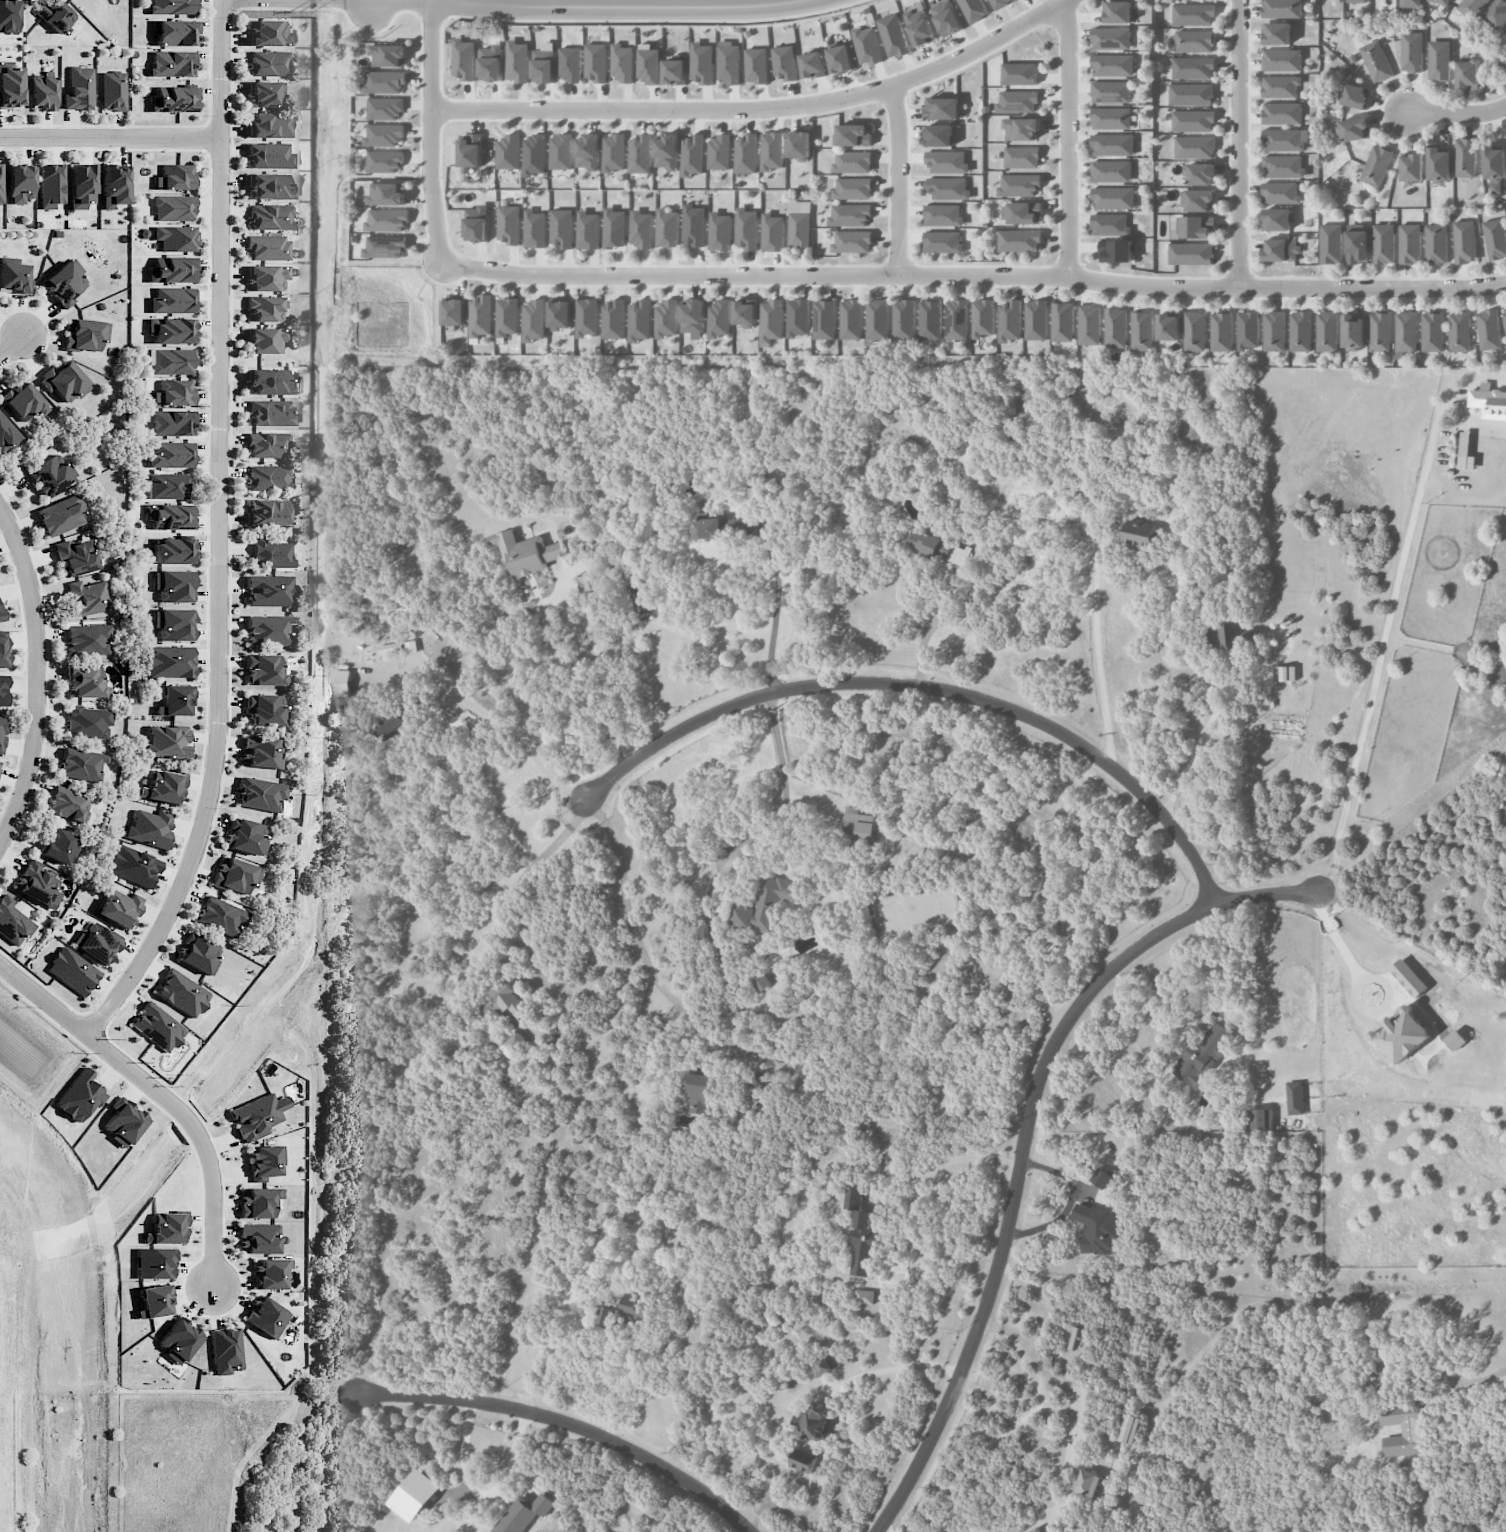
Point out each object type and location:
building: (1357, 1)
building: (1440, 1)
building: (1000, 3)
building: (1410, 3)
road: (633, 4)
road: (367, 5)
building: (171, 6)
building: (1282, 8)
building: (1471, 8)
building: (973, 10)
building: (1118, 11)
building: (1193, 14)
building: (1497, 14)
building: (56, 15)
building: (8, 16)
building: (946, 18)
building: (919, 27)
building: (173, 32)
building: (268, 33)
building: (1276, 33)
building: (893, 35)
building: (1112, 38)
building: (1194, 41)
building: (866, 45)
building: (1411, 51)
building: (389, 55)
building: (840, 58)
building: (463, 59)
building: (1282, 60)
building: (1439, 60)
building: (517, 61)
building: (1376, 61)
building: (596, 62)
building: (622, 62)
building: (728, 62)
building: (784, 62)
building: (171, 63)
building: (269, 63)
building: (490, 63)
building: (543, 63)
building: (701, 63)
building: (569, 64)
building: (649, 64)
building: (813, 64)
building: (756, 65)
building: (1113, 65)
building: (1193, 67)
building: (675, 71)
building: (1019, 73)
building: (1467, 74)
building: (385, 81)
building: (9, 84)
building: (1280, 86)
building: (78, 88)
building: (112, 90)
building: (1111, 91)
building: (41, 92)
building: (264, 93)
building: (1191, 94)
building: (1356, 96)
building: (172, 99)
building: (1018, 101)
building: (385, 108)
building: (942, 108)
road: (762, 109)
building: (1282, 113)
road: (1457, 114)
building: (1111, 118)
building: (1193, 120)
building: (270, 125)
building: (1353, 129)
road: (430, 131)
building: (384, 134)
building: (853, 135)
building: (940, 135)
road: (110, 138)
building: (1285, 139)
road: (1068, 140)
building: (1113, 144)
road: (1239, 144)
building: (799, 145)
building: (1195, 147)
building: (561, 151)
building: (588, 151)
building: (667, 151)
building: (773, 151)
building: (509, 152)
building: (614, 152)
building: (720, 152)
building: (641, 153)
building: (747, 153)
building: (535, 154)
building: (269, 155)
building: (693, 155)
building: (472, 157)
building: (1022, 157)
building: (1464, 157)
building: (385, 161)
building: (853, 162)
building: (947, 162)
building: (1376, 165)
building: (1283, 166)
building: (1495, 167)
building: (1412, 168)
building: (1111, 171)
building: (1200, 173)
building: (174, 178)
road: (897, 181)
building: (0, 182)
building: (19, 183)
building: (49, 185)
building: (80, 185)
building: (113, 185)
building: (1019, 185)
building: (270, 186)
building: (853, 188)
building: (948, 188)
building: (1280, 193)
building: (386, 194)
building: (1113, 197)
building: (1198, 200)
building: (173, 208)
building: (1022, 212)
building: (850, 214)
building: (943, 215)
building: (271, 217)
building: (1276, 219)
building: (388, 220)
building: (476, 223)
building: (799, 223)
building: (509, 224)
building: (1110, 224)
building: (693, 225)
building: (1195, 226)
building: (561, 228)
building: (614, 228)
building: (667, 228)
building: (746, 228)
building: (535, 229)
building: (640, 229)
building: (587, 230)
building: (719, 231)
building: (772, 232)
building: (173, 238)
building: (1495, 238)
building: (1019, 240)
building: (853, 241)
building: (1464, 241)
building: (943, 242)
building: (1331, 243)
building: (1383, 243)
building: (1410, 243)
building: (1436, 243)
building: (386, 246)
building: (1357, 247)
building: (268, 248)
building: (1281, 249)
building: (1116, 250)
building: (1190, 253)
building: (170, 270)
building: (13, 276)
road: (973, 276)
building: (265, 277)
building: (63, 283)
building: (171, 300)
building: (264, 308)
building: (455, 311)
building: (1505, 312)
building: (745, 313)
building: (561, 314)
building: (481, 316)
building: (507, 316)
building: (587, 317)
building: (798, 317)
building: (666, 318)
building: (693, 318)
building: (719, 318)
building: (983, 318)
building: (614, 319)
building: (640, 319)
building: (825, 319)
building: (851, 319)
building: (877, 319)
building: (904, 319)
building: (957, 319)
building: (534, 320)
building: (772, 320)
building: (930, 320)
building: (1036, 320)
building: (1009, 321)
building: (1063, 322)
building: (1089, 324)
building: (1116, 327)
building: (1168, 327)
building: (1247, 329)
building: (1488, 329)
building: (169, 330)
building: (1142, 330)
building: (1195, 331)
building: (1221, 331)
building: (1274, 331)
building: (1300, 331)
building: (1327, 331)
building: (1353, 331)
building: (1380, 331)
building: (1406, 331)
building: (1433, 331)
building: (1459, 331)
building: (84, 334)
building: (265, 340)
road: (12, 346)
building: (170, 361)
building: (63, 381)
building: (269, 382)
building: (172, 393)
building: (23, 401)
building: (1489, 401)
building: (270, 413)
building: (172, 423)
building: (7, 435)
building: (268, 445)
building: (1465, 452)
building: (170, 454)
building: (48, 475)
building: (267, 477)
building: (167, 485)
building: (266, 512)
building: (59, 515)
building: (168, 516)
building: (706, 528)
road: (219, 534)
building: (1139, 534)
building: (938, 547)
building: (172, 550)
building: (526, 553)
building: (270, 554)
building: (74, 557)
building: (589, 582)
building: (172, 585)
building: (269, 590)
building: (88, 597)
road: (772, 610)
building: (1, 615)
building: (172, 624)
building: (267, 630)
building: (1234, 635)
building: (87, 639)
road: (1380, 644)
road: (1096, 645)
building: (390, 648)
building: (3, 649)
building: (168, 661)
road: (579, 666)
building: (264, 670)
building: (1284, 673)
road: (39, 677)
building: (85, 683)
building: (342, 683)
road: (929, 687)
building: (3, 690)
building: (174, 700)
road: (1217, 704)
building: (264, 710)
building: (87, 722)
building: (392, 725)
building: (1, 727)
road: (504, 729)
building: (166, 742)
building: (261, 752)
building: (80, 764)
building: (162, 786)
road: (782, 787)
building: (259, 794)
building: (68, 804)
building: (858, 825)
building: (148, 827)
building: (245, 837)
building: (59, 845)
building: (132, 866)
building: (235, 875)
road: (518, 883)
building: (37, 884)
building: (767, 904)
building: (119, 908)
building: (220, 916)
road: (627, 917)
building: (12, 922)
building: (96, 943)
building: (197, 955)
building: (71, 971)
building: (1408, 977)
building: (761, 981)
building: (181, 993)
building: (504, 1001)
road: (1254, 1006)
building: (157, 1027)
building: (1403, 1035)
building: (514, 1044)
building: (1201, 1055)
building: (699, 1093)
road: (165, 1095)
building: (79, 1096)
building: (1295, 1097)
building: (257, 1116)
building: (1260, 1119)
building: (123, 1122)
road: (1023, 1140)
building: (265, 1161)
building: (1100, 1178)
building: (853, 1198)
building: (258, 1202)
road: (909, 1218)
building: (166, 1228)
building: (1097, 1228)
building: (258, 1238)
building: (864, 1244)
building: (153, 1263)
building: (271, 1273)
building: (865, 1296)
building: (153, 1301)
building: (633, 1312)
building: (607, 1315)
building: (265, 1317)
building: (178, 1340)
building: (225, 1350)
building: (825, 1365)
road: (893, 1368)
building: (1377, 1374)
road: (1470, 1379)
road: (1071, 1412)
building: (814, 1421)
road: (569, 1424)
building: (1128, 1428)
building: (1403, 1429)
road: (300, 1441)
building: (801, 1466)
building: (1087, 1482)
road: (479, 1494)
building: (523, 1513)
building: (1035, 1530)

